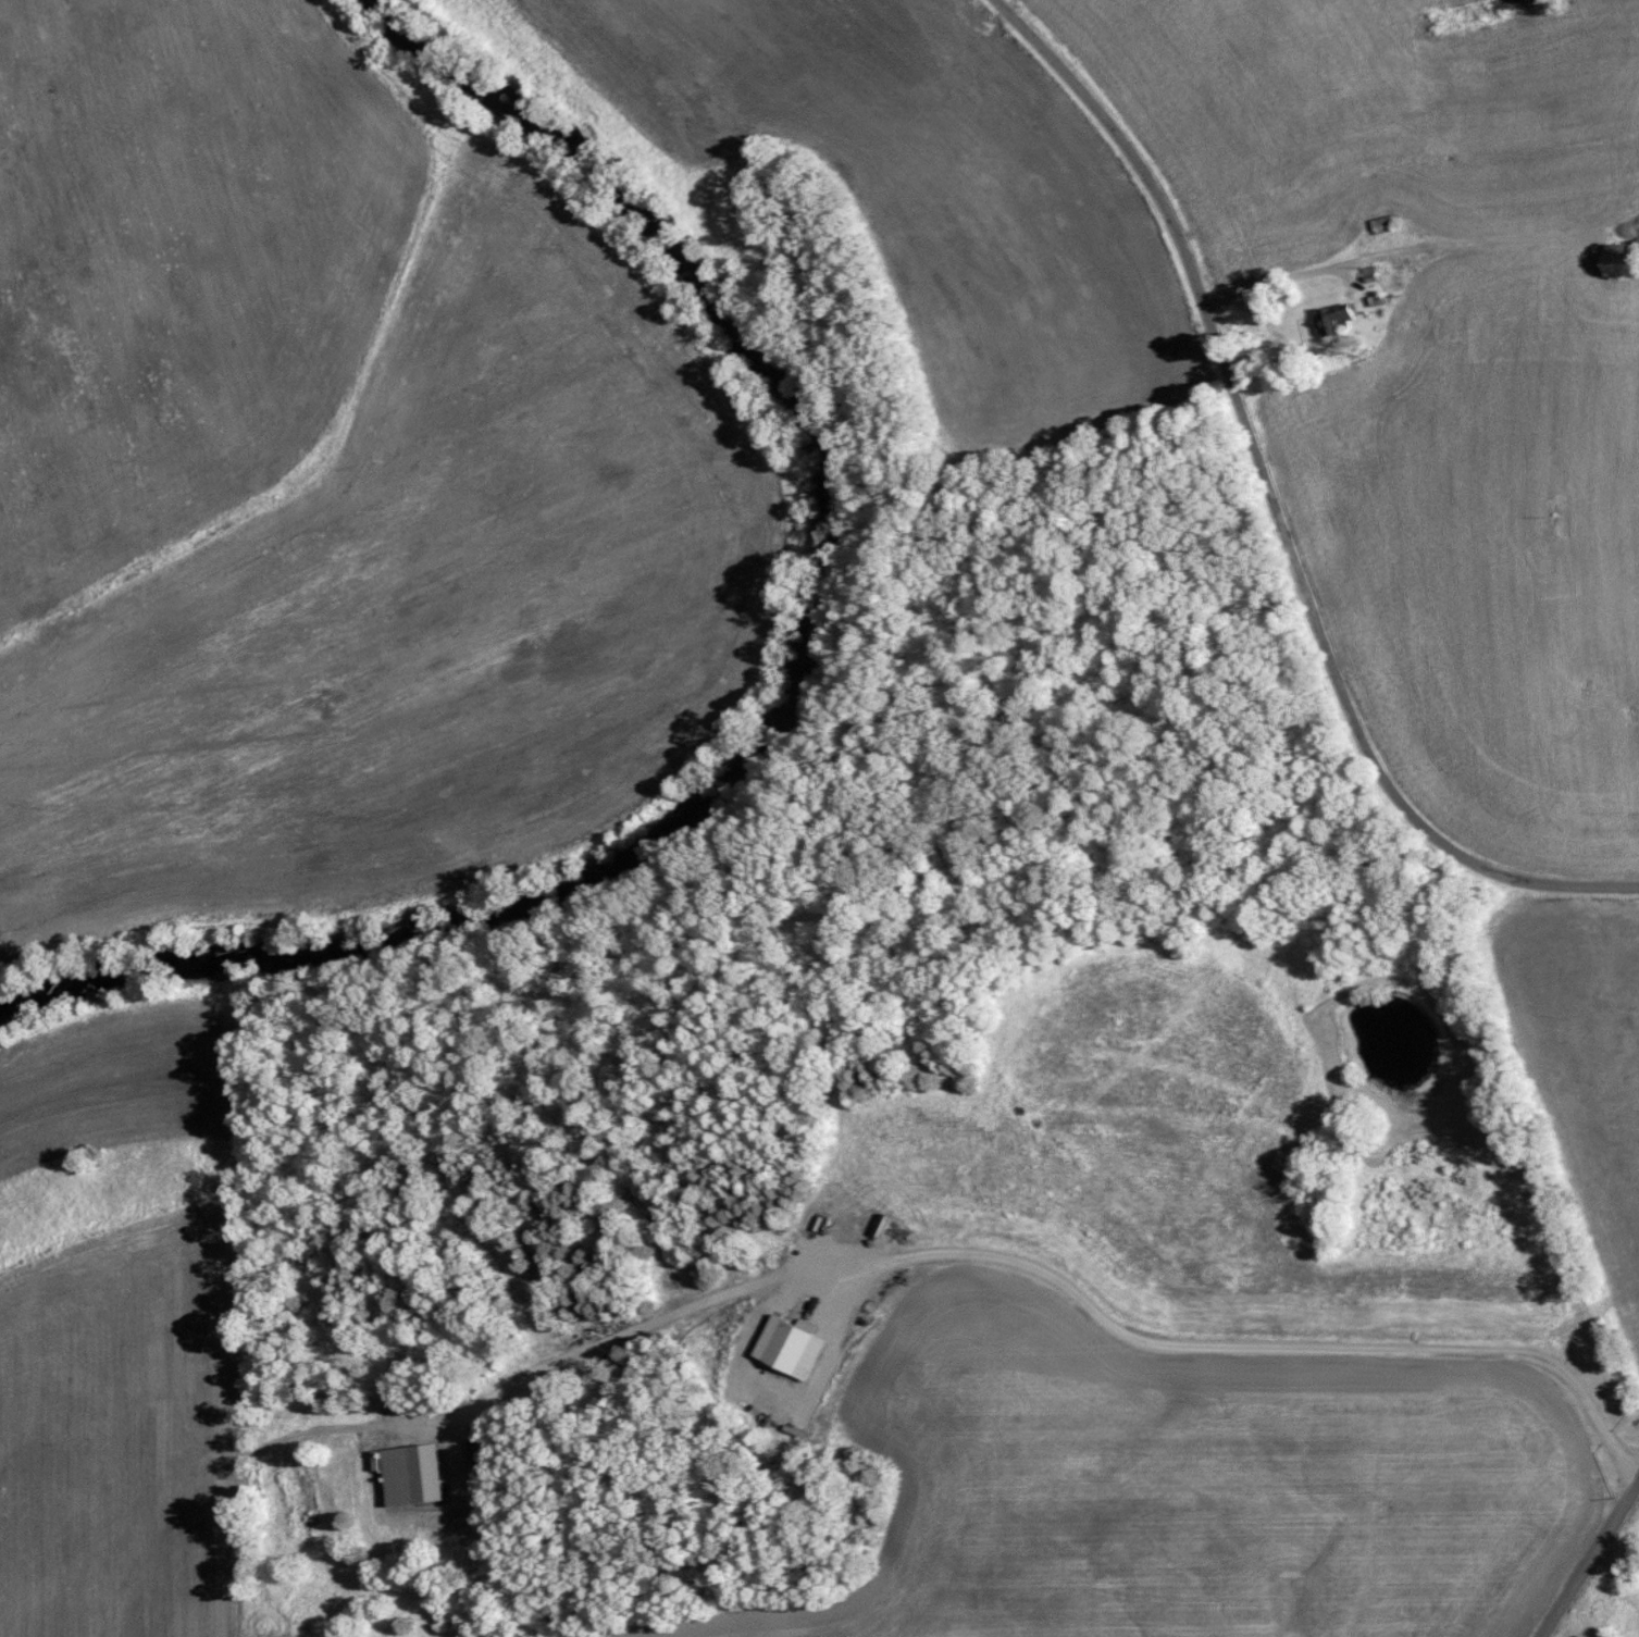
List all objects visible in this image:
building: (1380, 224)
building: (1615, 252)
building: (1332, 319)
road: (1243, 423)
river: (802, 719)
road: (1551, 883)
building: (841, 1225)
building: (790, 1348)
road: (1234, 1348)
building: (407, 1473)
road: (1589, 1558)

